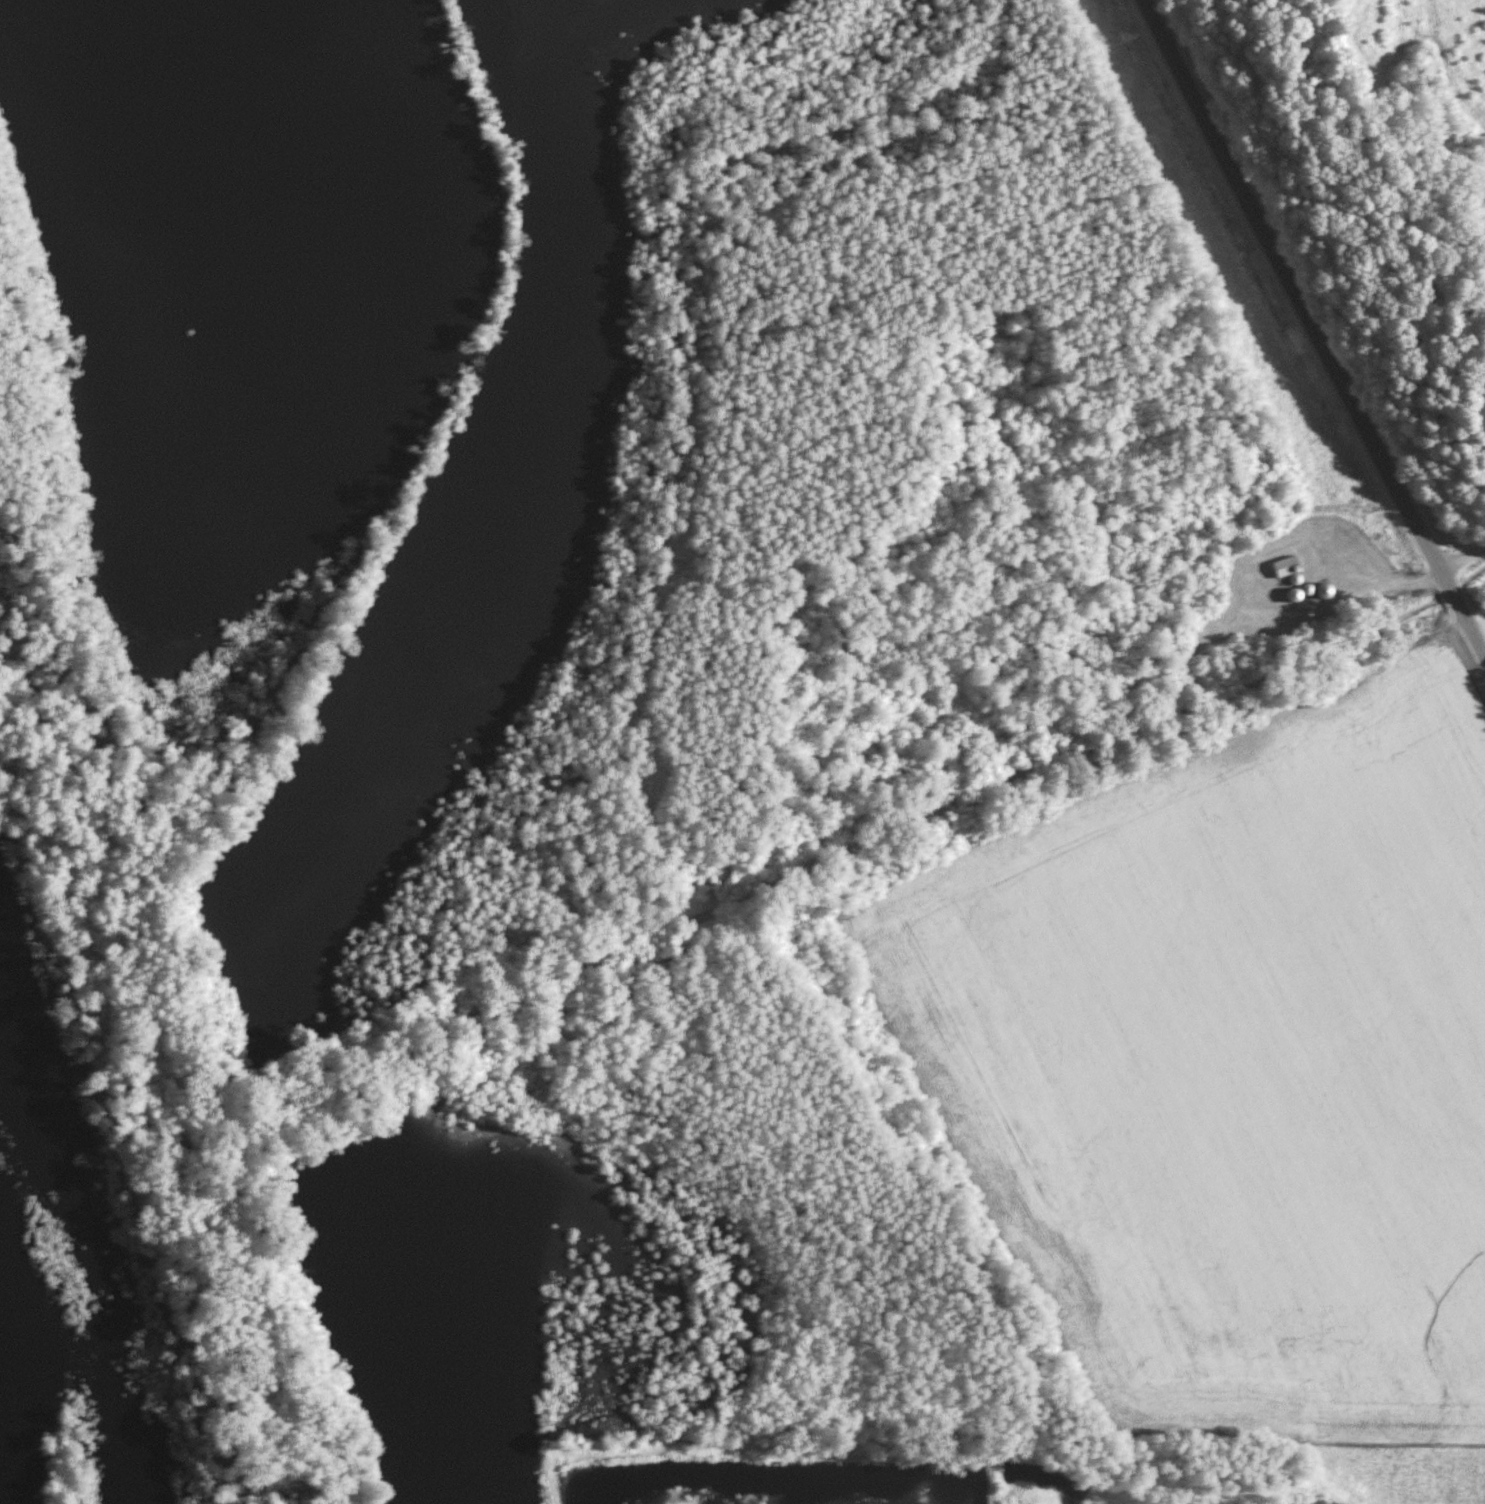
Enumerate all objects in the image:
road: (1314, 331)
building: (1363, 421)
road: (1460, 553)
building: (1286, 564)
building: (1323, 587)

